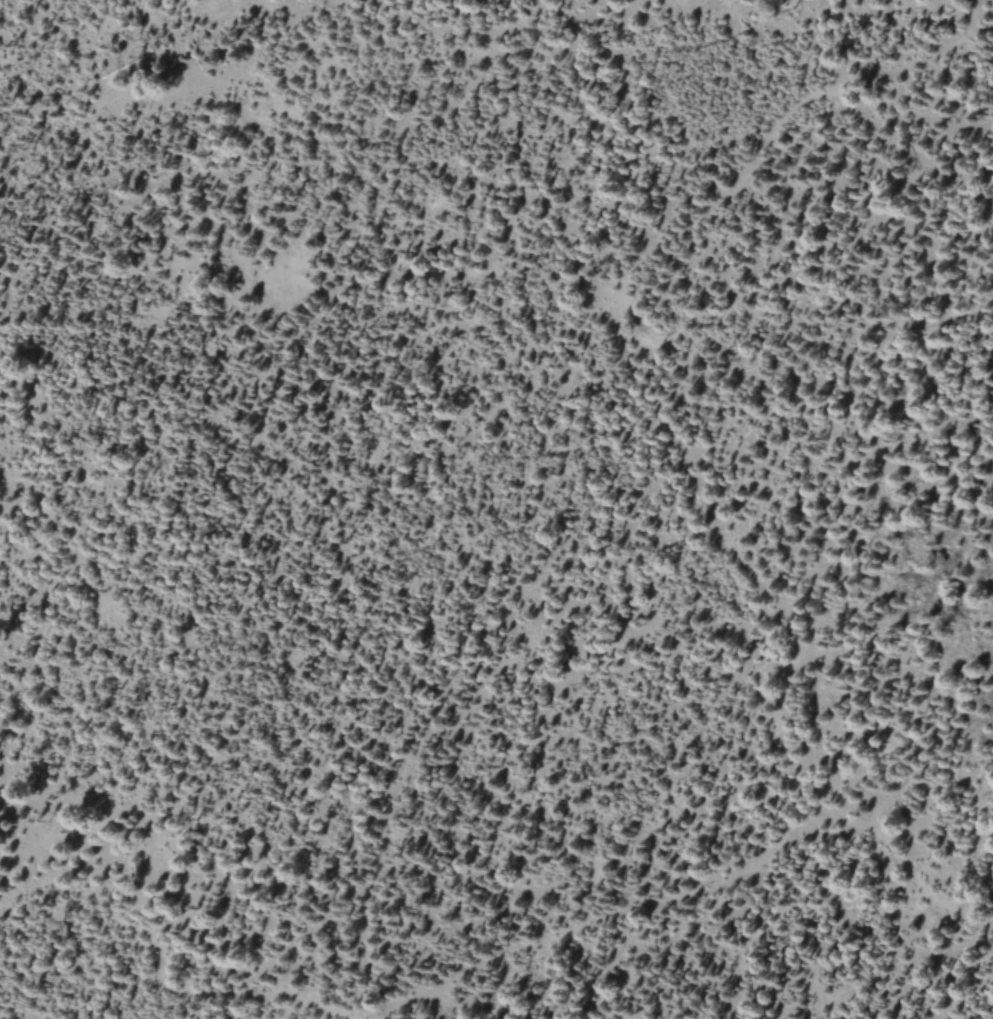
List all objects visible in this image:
road: (662, 464)

